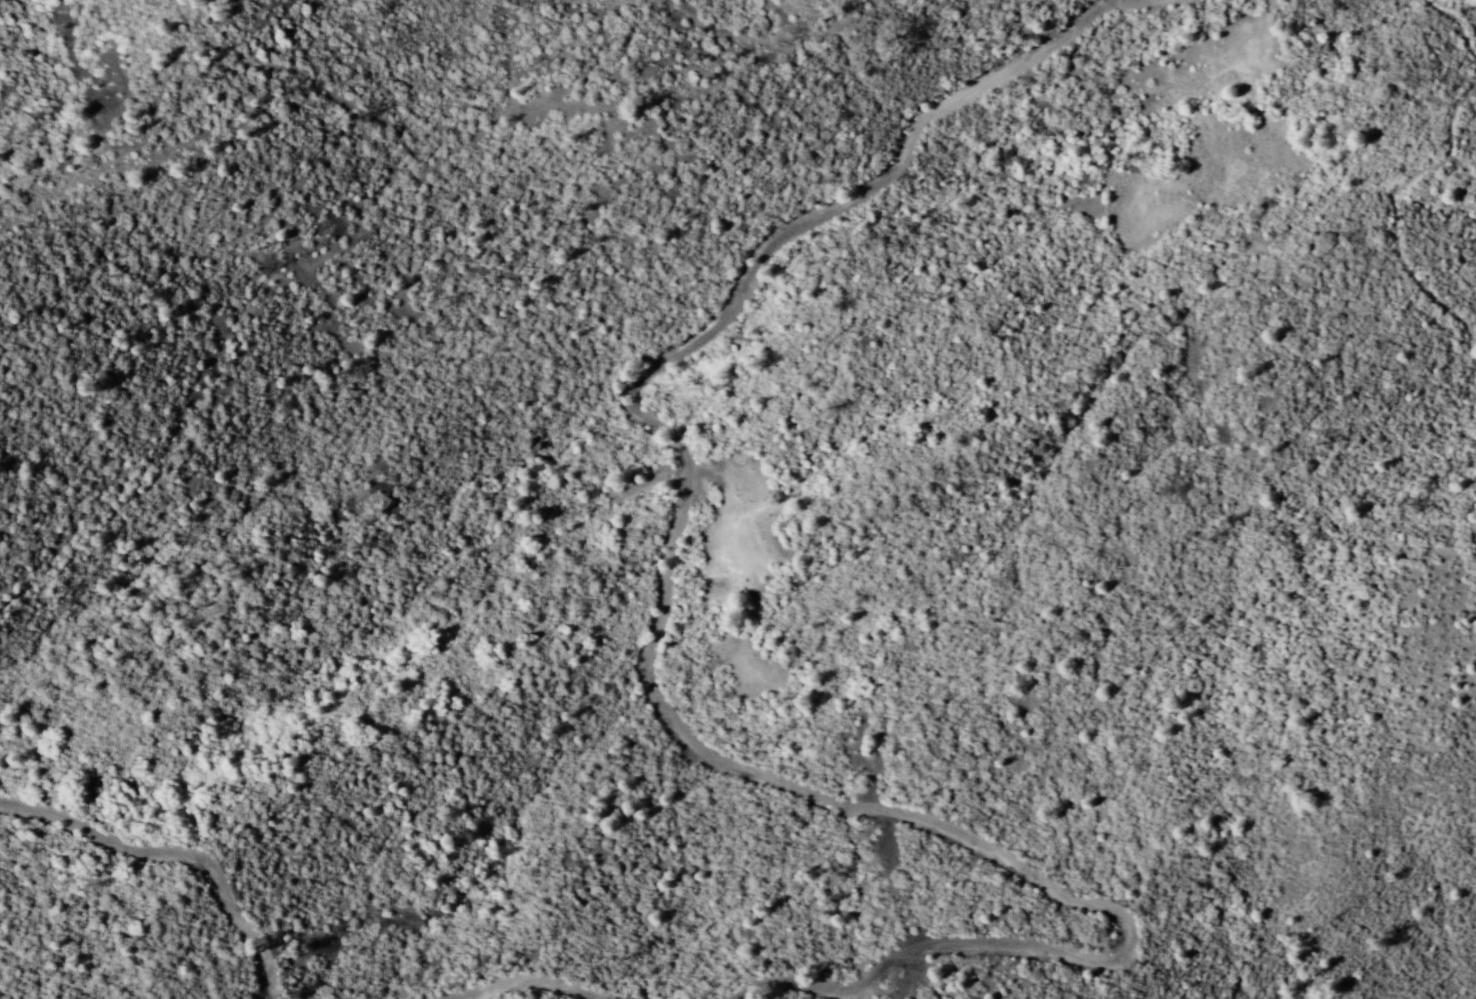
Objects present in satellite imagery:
road: (648, 674)
road: (177, 857)
road: (541, 988)

